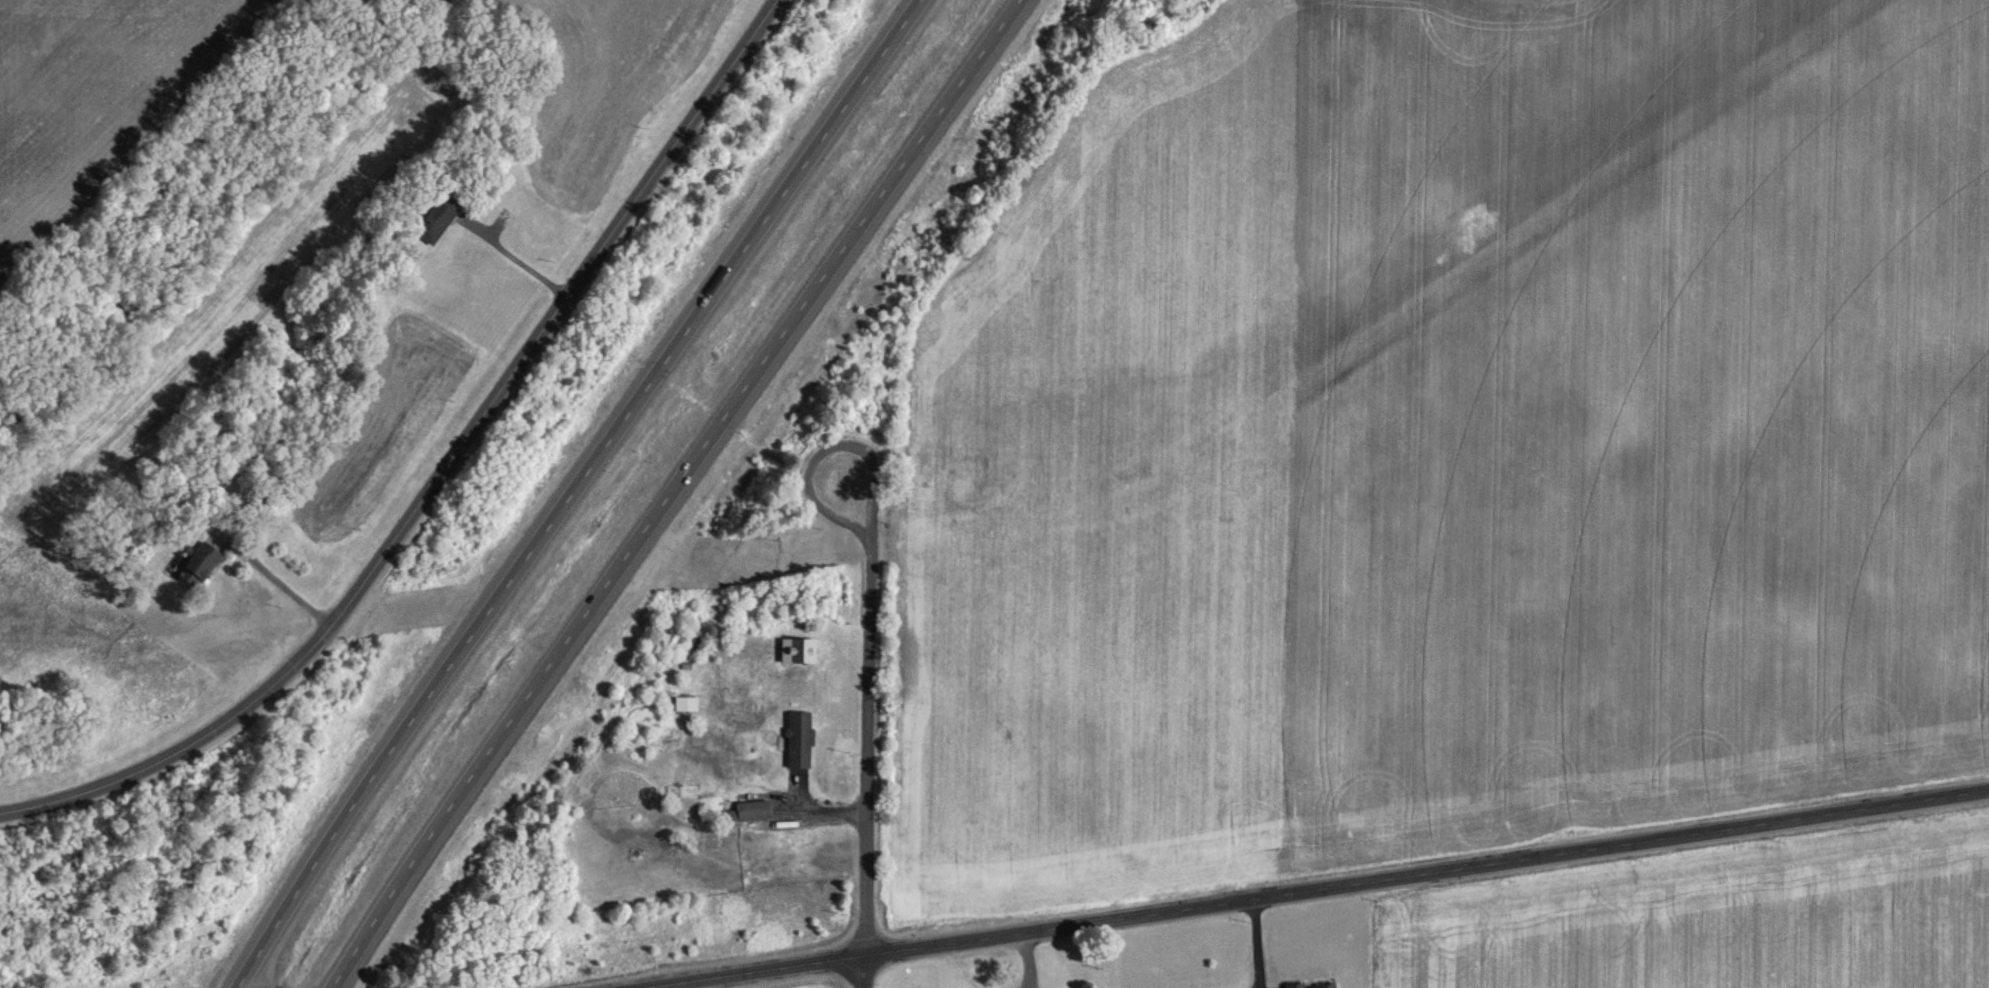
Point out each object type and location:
building: (434, 217)
road: (508, 264)
road: (440, 470)
road: (574, 490)
road: (671, 490)
road: (273, 589)
road: (870, 611)
building: (686, 702)
building: (800, 739)
building: (749, 810)
road: (1311, 889)
road: (863, 971)
road: (259, 981)

